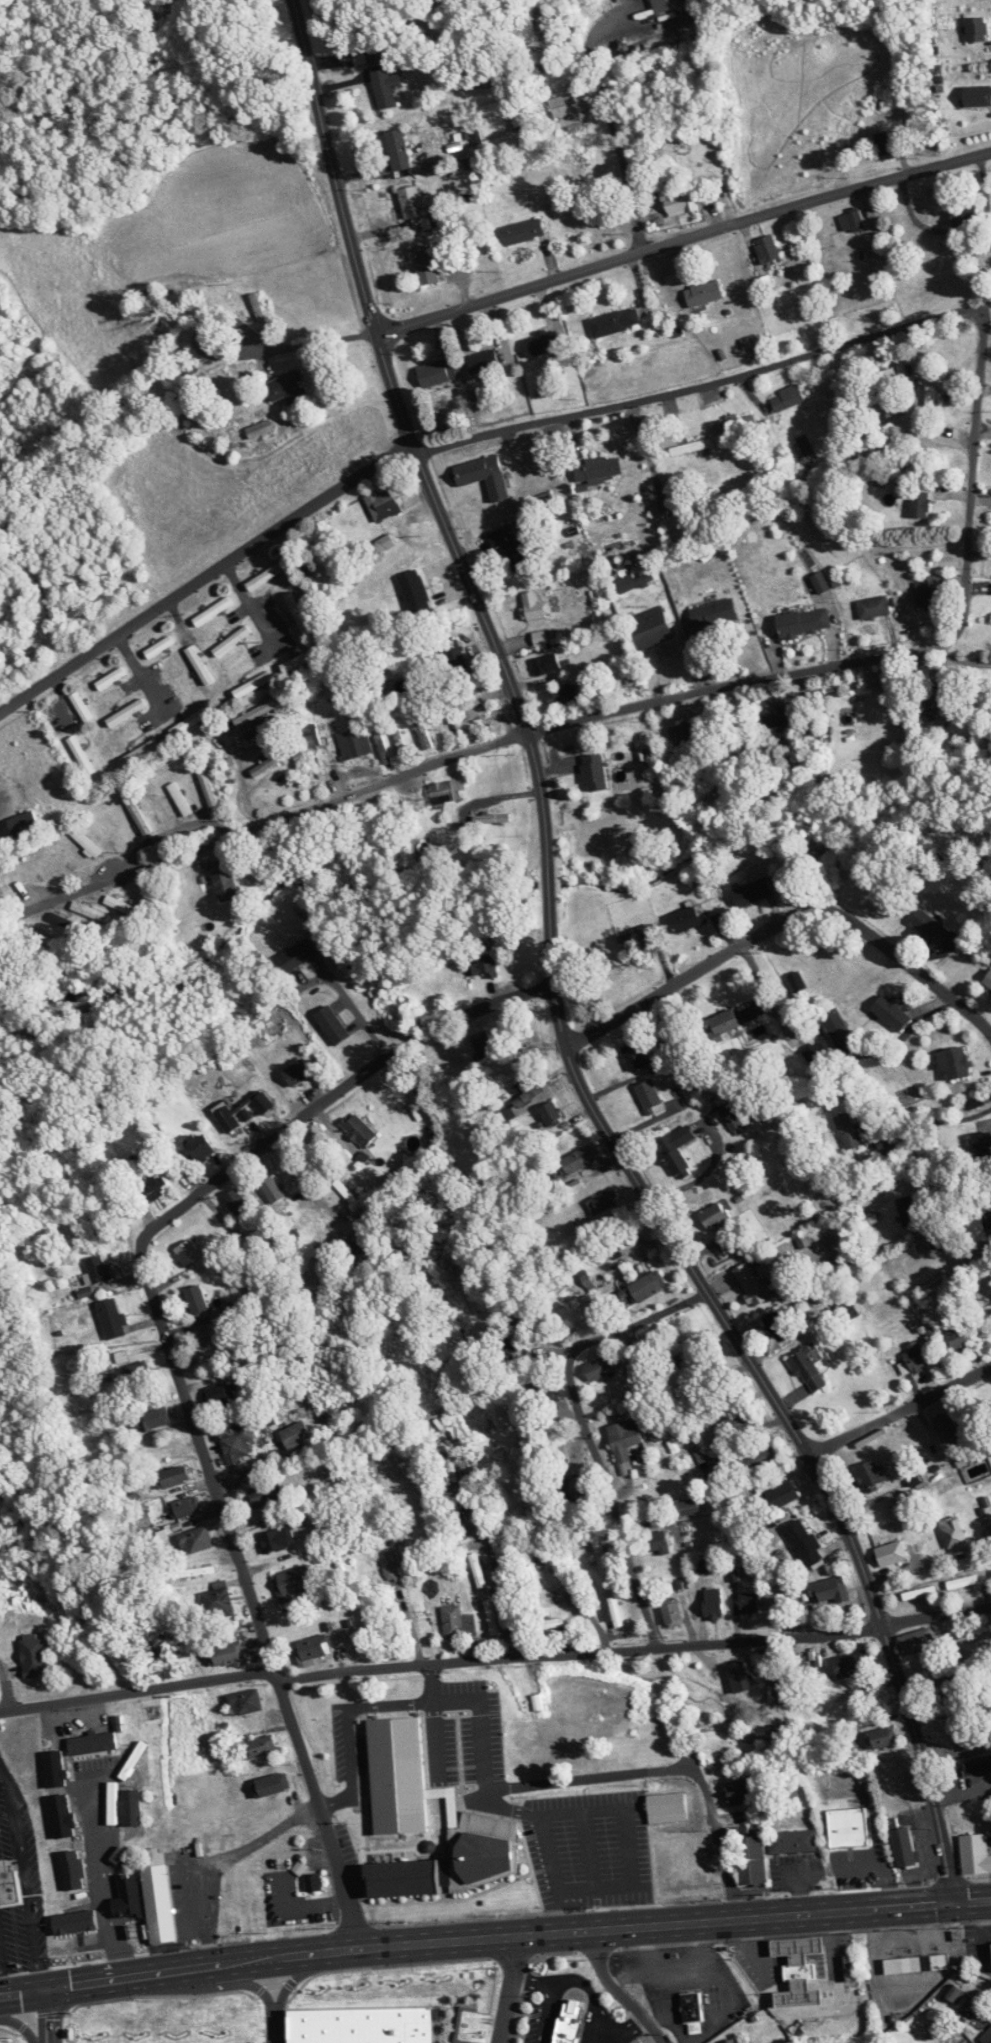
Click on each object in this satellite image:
building: (666, 5)
building: (976, 29)
building: (378, 74)
building: (977, 96)
road: (610, 116)
building: (885, 145)
building: (398, 150)
building: (677, 203)
building: (416, 209)
building: (964, 214)
building: (852, 221)
road: (960, 231)
building: (522, 232)
road: (682, 240)
building: (766, 249)
building: (425, 266)
building: (763, 283)
building: (703, 293)
building: (256, 306)
building: (614, 322)
building: (754, 341)
road: (237, 352)
building: (483, 362)
road: (979, 366)
building: (433, 374)
building: (288, 388)
building: (788, 397)
building: (930, 399)
road: (599, 404)
building: (805, 445)
building: (598, 468)
building: (482, 475)
building: (382, 505)
building: (920, 505)
building: (509, 548)
building: (266, 576)
road: (205, 577)
building: (635, 581)
building: (820, 583)
building: (929, 598)
road: (250, 605)
building: (534, 607)
building: (873, 607)
building: (297, 611)
building: (212, 612)
building: (713, 612)
building: (804, 622)
building: (649, 628)
building: (539, 638)
building: (231, 641)
building: (159, 647)
building: (455, 655)
building: (301, 660)
building: (546, 664)
building: (199, 665)
road: (959, 665)
road: (139, 671)
building: (110, 679)
building: (253, 685)
road: (745, 686)
building: (465, 692)
building: (559, 696)
building: (937, 703)
building: (81, 707)
building: (126, 713)
building: (254, 713)
building: (471, 714)
building: (776, 719)
building: (189, 723)
building: (261, 727)
building: (683, 733)
building: (311, 738)
building: (354, 743)
building: (382, 749)
building: (403, 751)
building: (139, 753)
building: (80, 756)
building: (272, 762)
building: (592, 774)
building: (207, 789)
building: (446, 791)
building: (179, 799)
building: (156, 806)
building: (137, 816)
road: (273, 819)
building: (24, 824)
building: (86, 843)
building: (62, 855)
building: (225, 881)
building: (751, 892)
building: (120, 904)
building: (90, 911)
road: (787, 915)
building: (58, 919)
building: (687, 919)
building: (30, 932)
building: (935, 932)
building: (638, 939)
building: (297, 955)
building: (485, 965)
road: (556, 977)
building: (988, 981)
road: (765, 996)
road: (355, 1011)
building: (892, 1013)
building: (833, 1021)
building: (721, 1024)
building: (331, 1025)
road: (899, 1038)
building: (484, 1043)
building: (670, 1047)
building: (634, 1056)
building: (815, 1057)
building: (955, 1063)
building: (297, 1073)
building: (526, 1092)
building: (650, 1097)
building: (551, 1113)
building: (729, 1116)
building: (227, 1119)
road: (942, 1120)
building: (359, 1129)
building: (847, 1131)
building: (200, 1146)
building: (984, 1147)
building: (676, 1151)
building: (572, 1163)
road: (705, 1173)
building: (153, 1187)
road: (963, 1187)
building: (272, 1190)
building: (238, 1205)
building: (909, 1210)
building: (714, 1216)
building: (987, 1220)
building: (956, 1233)
building: (188, 1251)
building: (97, 1268)
building: (751, 1285)
building: (647, 1286)
building: (197, 1301)
building: (111, 1317)
building: (777, 1331)
building: (957, 1339)
building: (681, 1348)
building: (506, 1349)
road: (171, 1358)
building: (915, 1358)
building: (598, 1368)
building: (807, 1369)
building: (139, 1377)
building: (546, 1394)
building: (219, 1395)
road: (901, 1408)
building: (333, 1415)
building: (152, 1420)
road: (586, 1424)
building: (736, 1425)
building: (946, 1428)
building: (296, 1435)
building: (237, 1442)
building: (624, 1443)
road: (289, 1459)
building: (757, 1459)
building: (401, 1462)
building: (446, 1464)
building: (872, 1475)
building: (172, 1477)
building: (573, 1488)
building: (265, 1494)
building: (782, 1495)
building: (184, 1508)
building: (683, 1508)
building: (461, 1519)
building: (953, 1534)
building: (195, 1540)
building: (276, 1540)
building: (658, 1542)
building: (804, 1542)
building: (891, 1554)
building: (601, 1555)
road: (495, 1561)
building: (699, 1566)
building: (477, 1570)
building: (393, 1571)
building: (192, 1572)
building: (737, 1573)
building: (532, 1574)
building: (294, 1582)
building: (962, 1582)
building: (829, 1591)
building: (919, 1593)
building: (782, 1594)
building: (217, 1601)
building: (749, 1602)
building: (713, 1604)
building: (615, 1612)
building: (672, 1614)
building: (491, 1617)
building: (458, 1623)
building: (548, 1623)
building: (917, 1642)
building: (314, 1647)
road: (636, 1650)
building: (226, 1655)
building: (34, 1656)
building: (799, 1667)
building: (856, 1669)
building: (739, 1676)
road: (6, 1686)
road: (137, 1690)
building: (954, 1690)
building: (245, 1702)
road: (349, 1726)
road: (482, 1726)
road: (436, 1727)
building: (963, 1735)
building: (882, 1737)
building: (93, 1743)
building: (261, 1748)
building: (977, 1766)
road: (666, 1769)
building: (271, 1785)
road: (441, 1791)
building: (739, 1792)
building: (636, 1798)
building: (901, 1799)
road: (443, 1801)
road: (453, 1802)
road: (498, 1803)
building: (396, 1826)
building: (848, 1827)
building: (793, 1841)
building: (485, 1846)
building: (904, 1846)
parking lot: (588, 1849)
road: (586, 1852)
building: (974, 1854)
building: (751, 1861)
building: (685, 1867)
road: (25, 1878)
road: (101, 1878)
building: (403, 1879)
road: (631, 1881)
building: (313, 1883)
building: (9, 1887)
building: (158, 1899)
road: (974, 1900)
traffic signals: (957, 1902)
road: (574, 1911)
road: (477, 1939)
building: (916, 1964)
building: (850, 1968)
building: (798, 1971)
road: (285, 1978)
road: (262, 1980)
road: (530, 1980)
road: (572, 1980)
road: (508, 1989)
traffic signals: (42, 1991)
road: (617, 1992)
building: (693, 2013)
road: (25, 2014)
road: (43, 2017)
building: (569, 2022)
road: (272, 2024)
building: (361, 2028)
road: (624, 2030)
building: (988, 2035)
building: (735, 2040)

